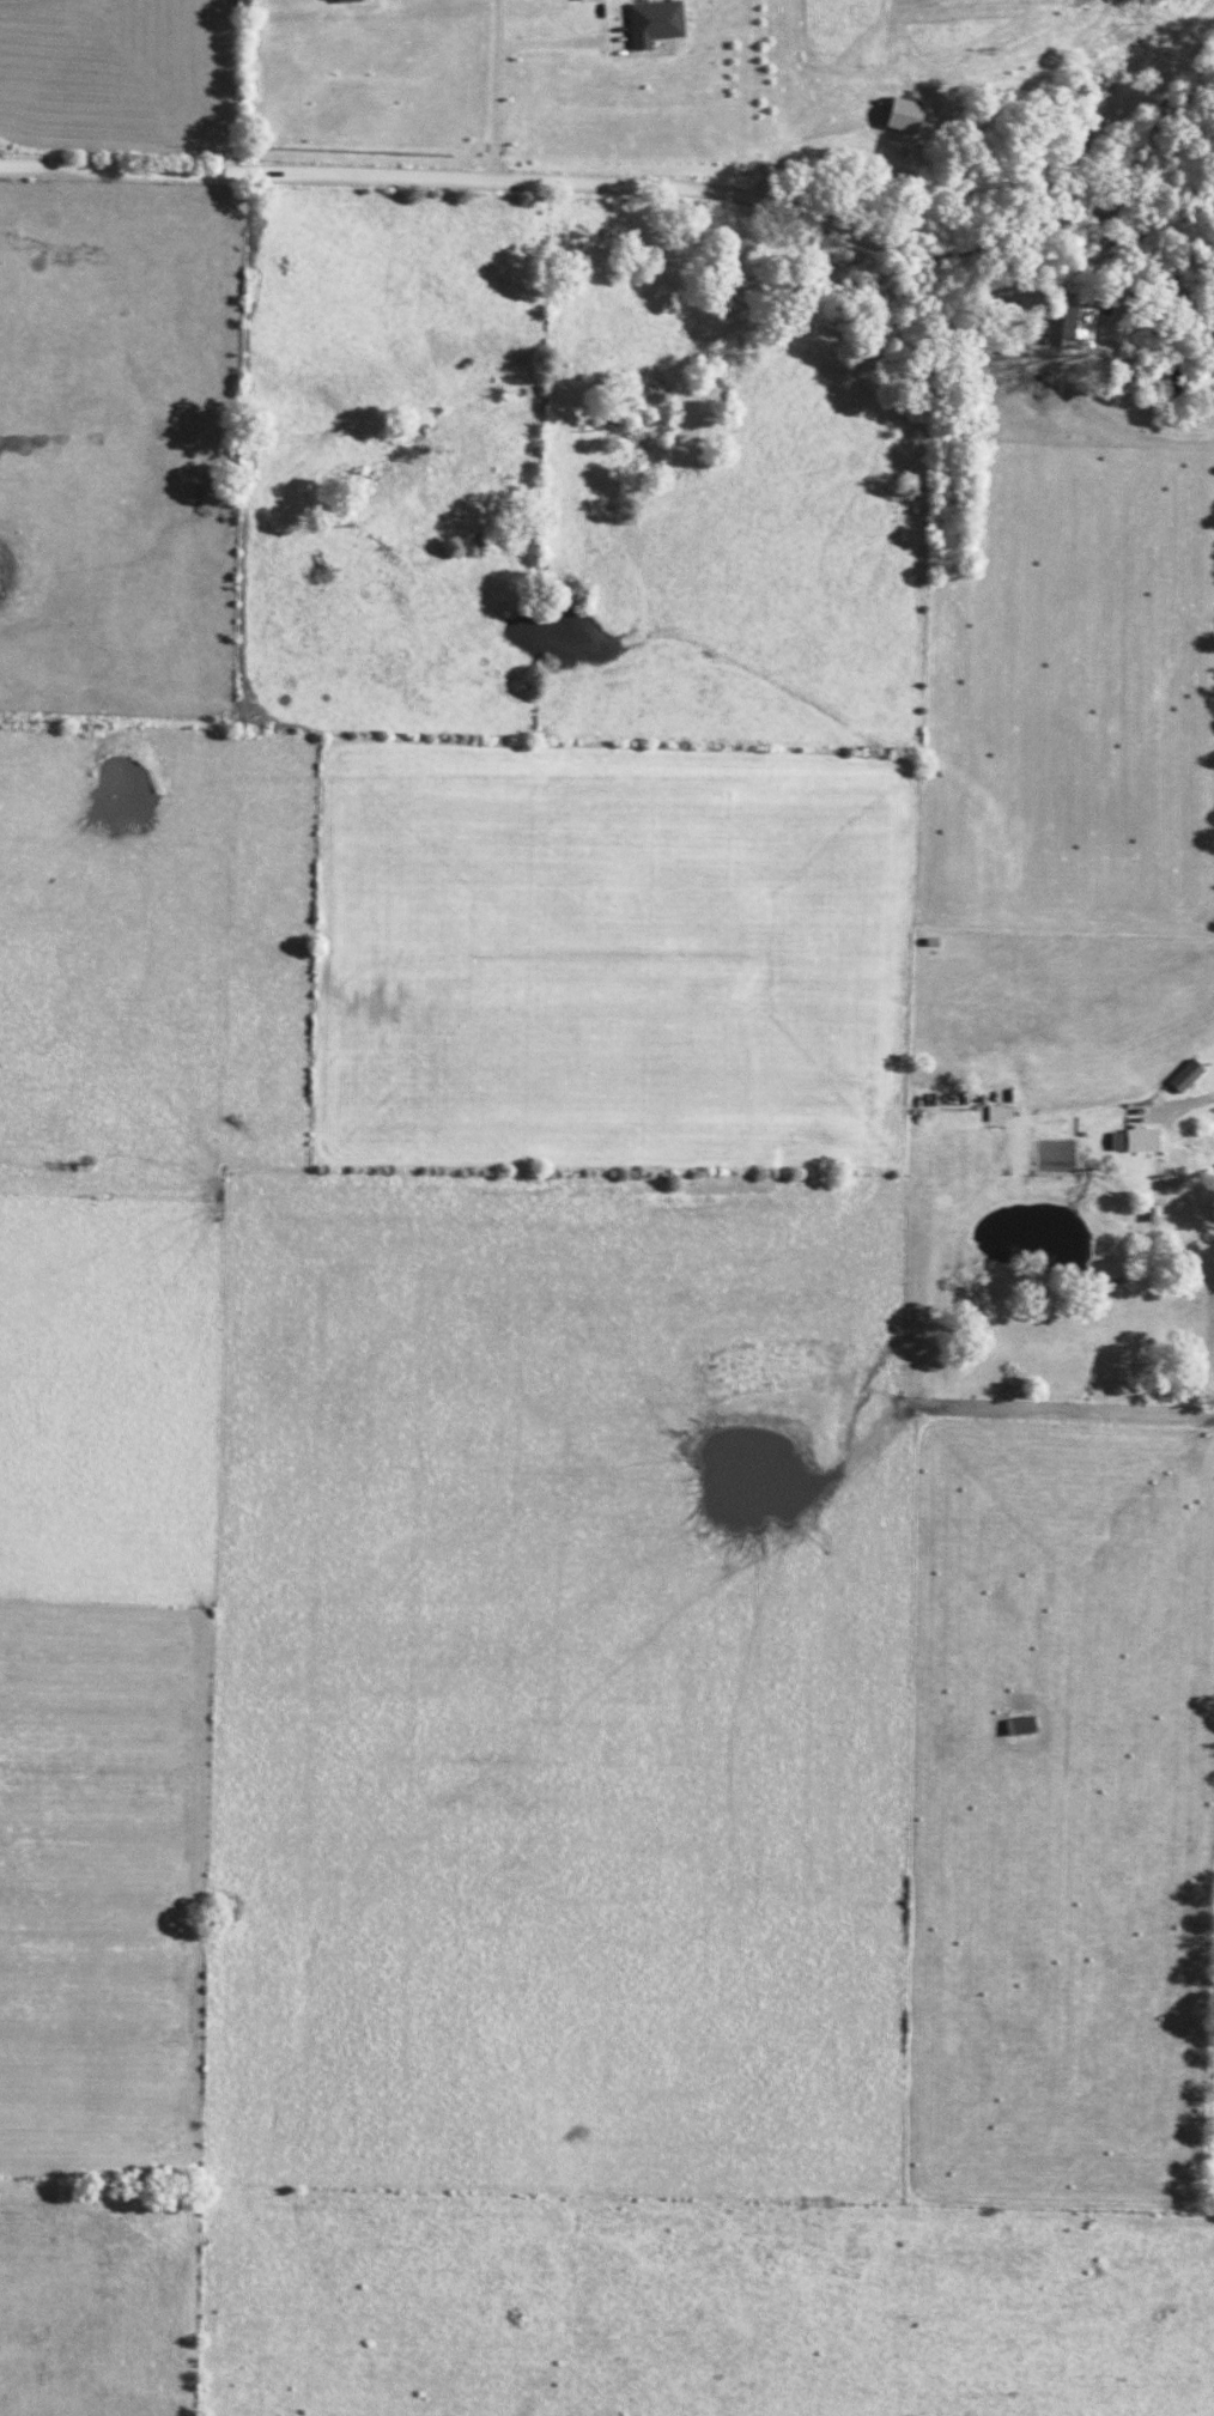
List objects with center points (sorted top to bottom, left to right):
building: (338, 0)
building: (652, 23)
road: (550, 44)
road: (221, 86)
road: (496, 90)
building: (902, 115)
road: (648, 186)
road: (1163, 257)
building: (1075, 327)
building: (1131, 1140)
building: (1018, 1725)

